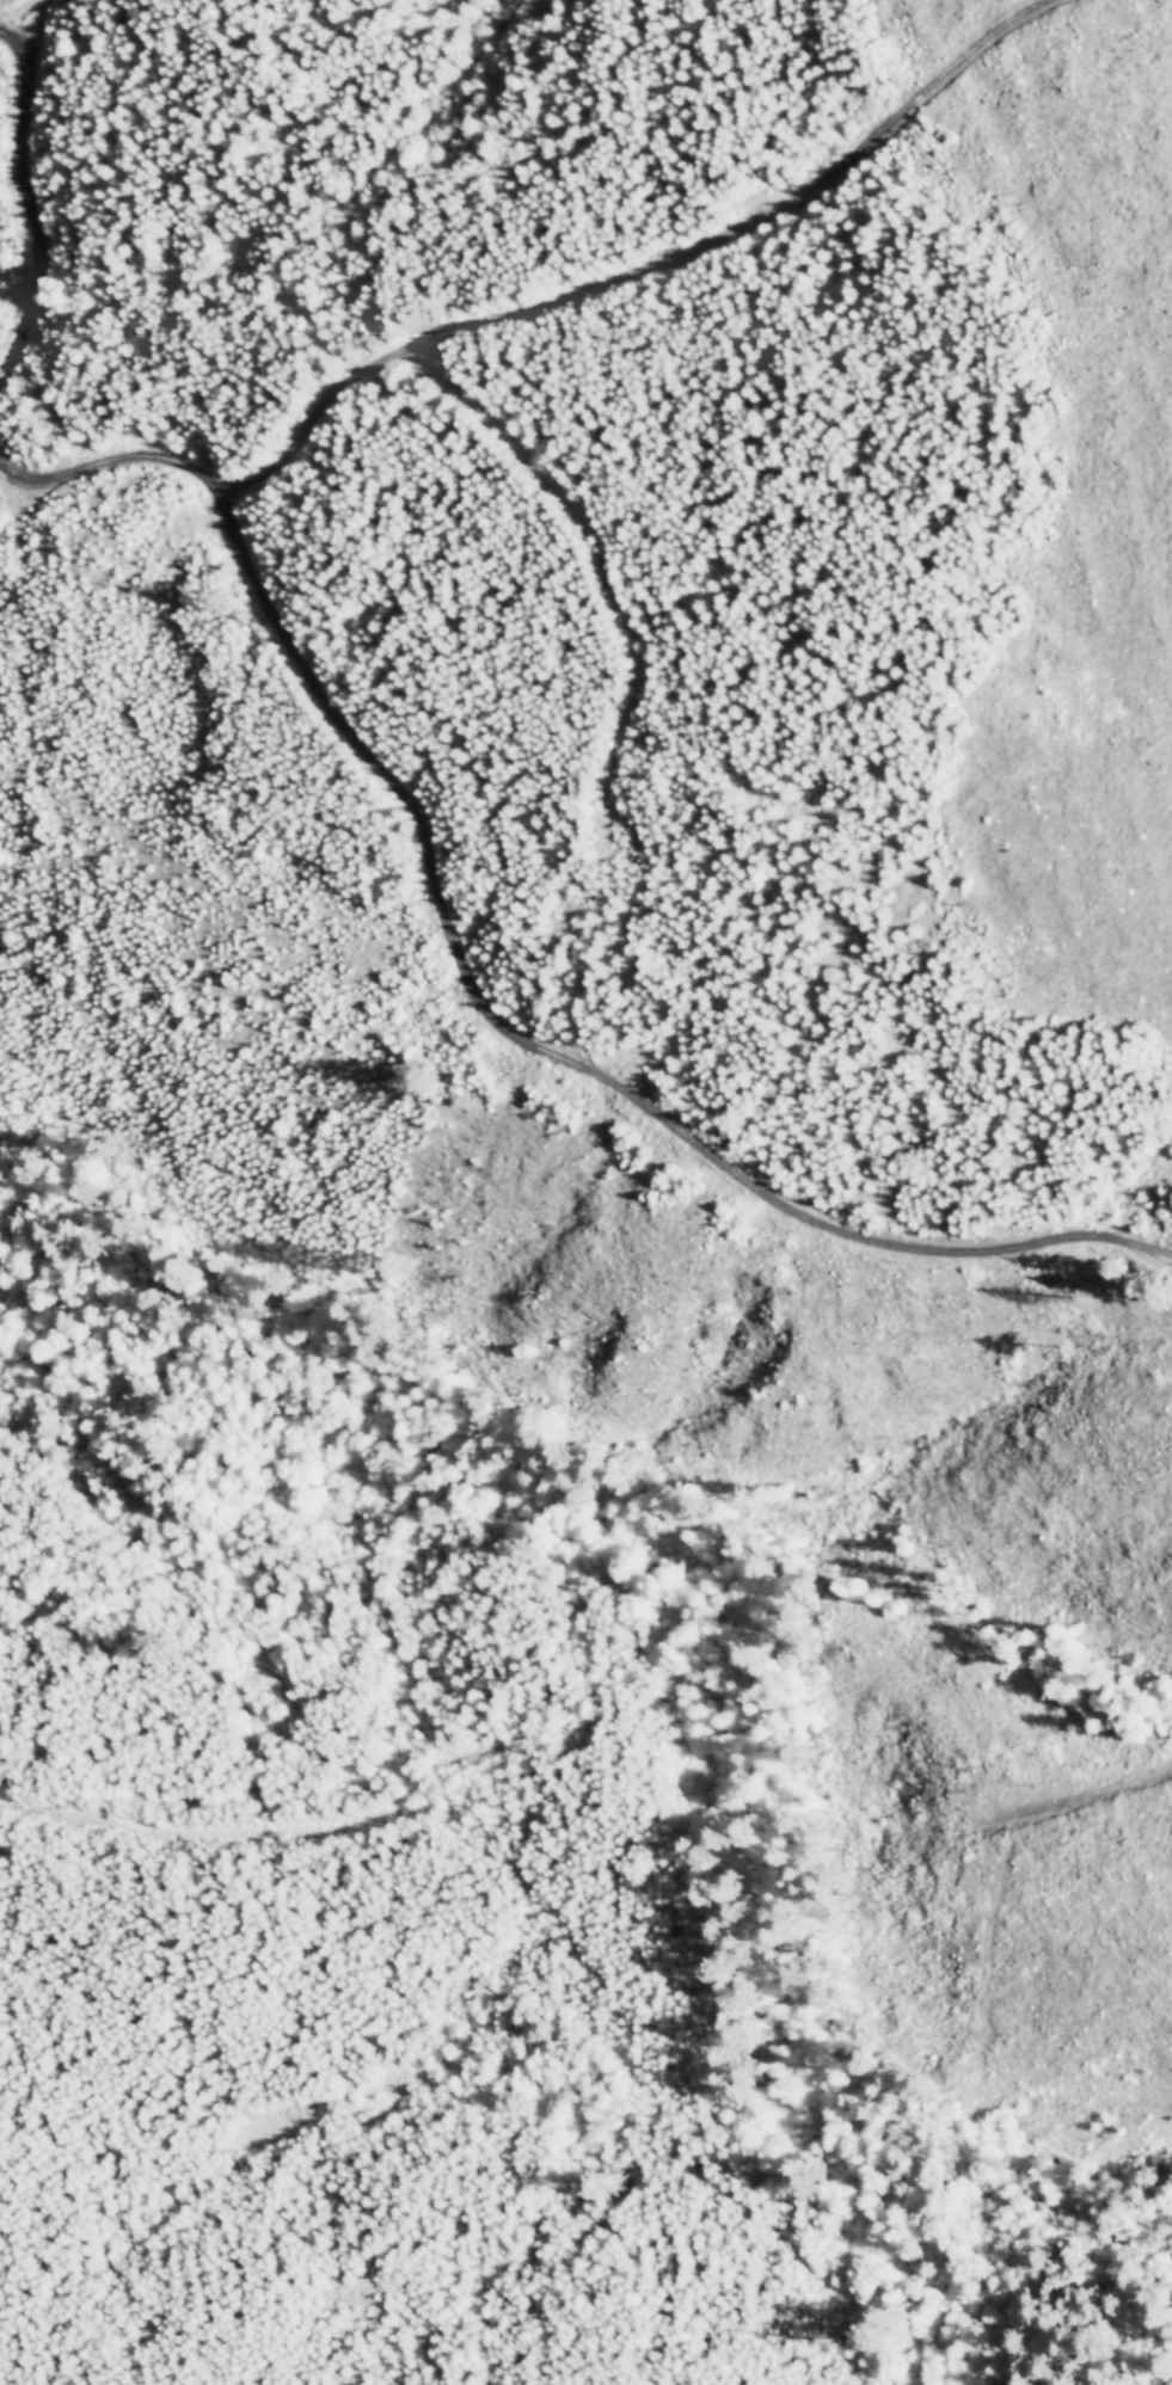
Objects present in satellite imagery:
road: (18, 193)
road: (493, 316)
road: (603, 555)
road: (462, 978)

